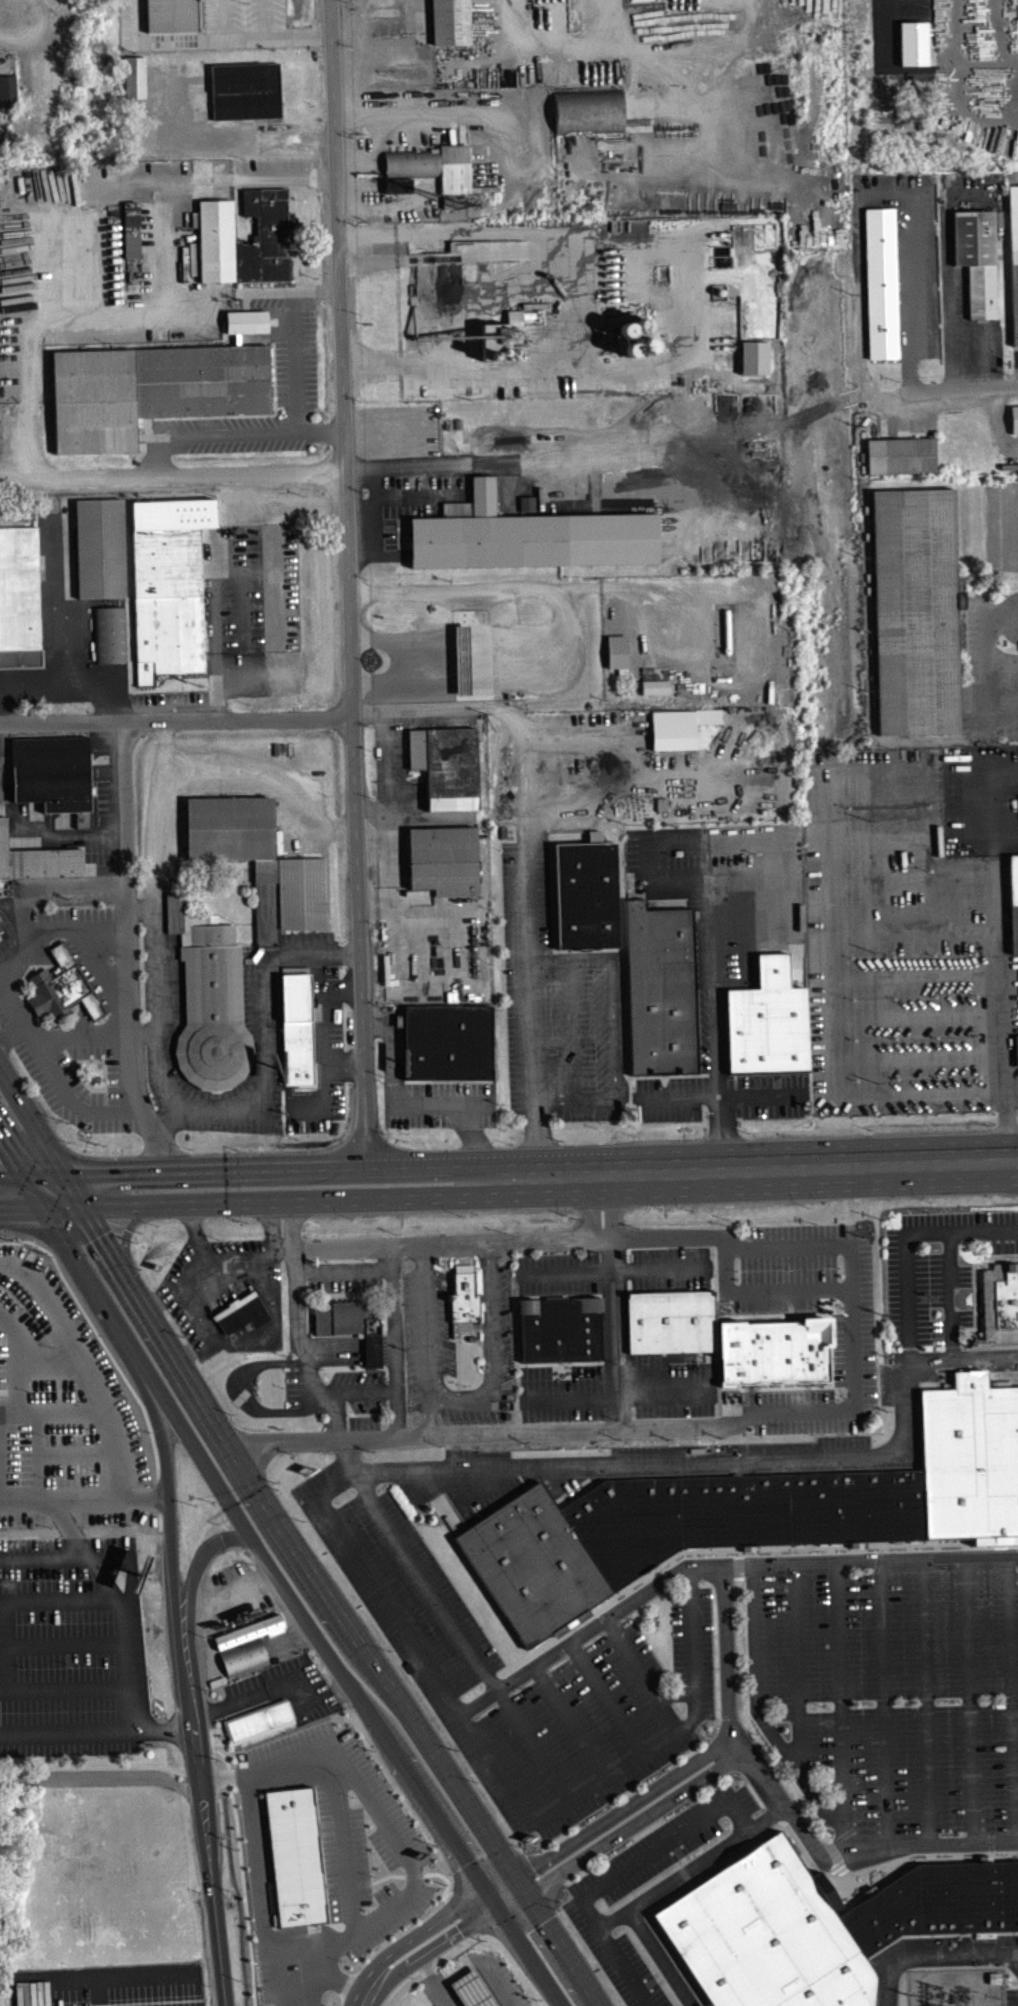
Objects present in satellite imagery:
building: (171, 15)
road: (265, 21)
road: (220, 22)
building: (449, 24)
road: (212, 45)
building: (133, 81)
building: (246, 89)
building: (7, 94)
building: (588, 115)
building: (431, 170)
building: (396, 189)
road: (863, 195)
road: (164, 216)
building: (130, 233)
building: (265, 235)
building: (216, 240)
road: (578, 243)
building: (1013, 255)
building: (977, 258)
building: (881, 281)
building: (246, 320)
building: (512, 323)
building: (631, 331)
road: (34, 334)
road: (293, 336)
parking lot: (296, 362)
road: (533, 380)
road: (959, 387)
building: (150, 389)
road: (996, 421)
building: (1013, 422)
road: (229, 432)
building: (902, 455)
road: (542, 458)
road: (172, 474)
building: (417, 498)
building: (527, 502)
parking lot: (406, 504)
building: (527, 534)
building: (97, 554)
road: (348, 583)
building: (168, 584)
building: (959, 603)
building: (18, 605)
road: (55, 608)
building: (916, 609)
road: (273, 615)
parking lot: (246, 617)
road: (214, 623)
building: (108, 640)
building: (615, 655)
road: (244, 660)
road: (989, 665)
road: (69, 686)
building: (653, 691)
road: (174, 704)
road: (176, 719)
building: (682, 734)
building: (447, 765)
road: (288, 767)
building: (52, 771)
road: (382, 783)
road: (644, 791)
road: (427, 821)
road: (160, 827)
road: (51, 836)
building: (37, 859)
building: (443, 859)
building: (259, 861)
road: (530, 864)
road: (63, 882)
road: (681, 885)
building: (586, 894)
building: (1012, 905)
road: (3, 906)
road: (158, 914)
road: (14, 922)
building: (1, 927)
road: (75, 928)
road: (128, 947)
road: (308, 950)
road: (567, 958)
road: (998, 959)
road: (17, 960)
building: (62, 987)
building: (660, 987)
road: (835, 987)
building: (209, 999)
building: (768, 1021)
road: (376, 1025)
road: (613, 1026)
parking lot: (162, 1029)
building: (297, 1031)
road: (145, 1032)
road: (75, 1034)
road: (160, 1034)
road: (10, 1036)
building: (447, 1040)
road: (321, 1042)
road: (571, 1047)
building: (1015, 1054)
parking lot: (321, 1062)
road: (342, 1063)
road: (265, 1080)
road: (54, 1082)
road: (722, 1093)
road: (1010, 1093)
road: (589, 1096)
parking lot: (439, 1102)
road: (401, 1103)
road: (42, 1137)
road: (474, 1139)
road: (71, 1154)
road: (270, 1165)
road: (29, 1166)
traffic signals: (60, 1166)
traffic signals: (13, 1167)
road: (747, 1171)
road: (21, 1178)
road: (240, 1203)
traffic signals: (82, 1209)
traffic signals: (45, 1210)
road: (41, 1231)
road: (123, 1235)
road: (475, 1240)
road: (907, 1243)
road: (264, 1251)
road: (192, 1265)
road: (849, 1265)
road: (639, 1269)
road: (565, 1270)
road: (609, 1270)
road: (342, 1275)
road: (97, 1289)
road: (760, 1292)
road: (949, 1295)
building: (463, 1302)
building: (1000, 1302)
building: (241, 1311)
building: (349, 1325)
building: (669, 1326)
building: (560, 1331)
road: (394, 1338)
road: (422, 1338)
road: (249, 1341)
road: (493, 1350)
building: (772, 1356)
road: (306, 1360)
road: (14, 1376)
road: (152, 1385)
road: (236, 1391)
road: (662, 1392)
road: (584, 1394)
road: (333, 1413)
road: (475, 1433)
road: (349, 1452)
building: (968, 1458)
road: (722, 1461)
road: (75, 1499)
road: (26, 1500)
road: (164, 1505)
building: (667, 1532)
road: (92, 1557)
road: (45, 1558)
road: (718, 1564)
road: (199, 1565)
parking lot: (69, 1586)
road: (62, 1598)
road: (1, 1600)
road: (334, 1611)
building: (250, 1630)
road: (461, 1632)
road: (90, 1645)
building: (243, 1656)
parking lot: (450, 1657)
road: (796, 1665)
road: (642, 1672)
road: (63, 1686)
road: (674, 1692)
road: (252, 1693)
parking lot: (891, 1693)
road: (841, 1694)
parking lot: (73, 1695)
road: (607, 1696)
road: (1010, 1697)
road: (364, 1699)
road: (969, 1699)
road: (927, 1700)
road: (883, 1702)
road: (764, 1719)
building: (258, 1720)
road: (570, 1720)
road: (753, 1729)
road: (97, 1730)
road: (103, 1781)
road: (507, 1784)
road: (623, 1805)
road: (784, 1806)
road: (379, 1820)
road: (205, 1822)
road: (633, 1824)
building: (295, 1854)
traffic signals: (467, 1862)
traffic signals: (532, 1863)
road: (242, 1865)
road: (691, 1865)
road: (618, 1874)
parking lot: (598, 1890)
road: (261, 1892)
road: (436, 1921)
traffic signals: (543, 1921)
building: (817, 1925)
traffic signals: (462, 1932)
road: (451, 1938)
road: (930, 1949)
road: (303, 1953)
road: (660, 1956)
road: (433, 1965)
road: (330, 1980)
road: (432, 1982)
power substation: (955, 1987)
building: (469, 1992)
road: (369, 1993)

